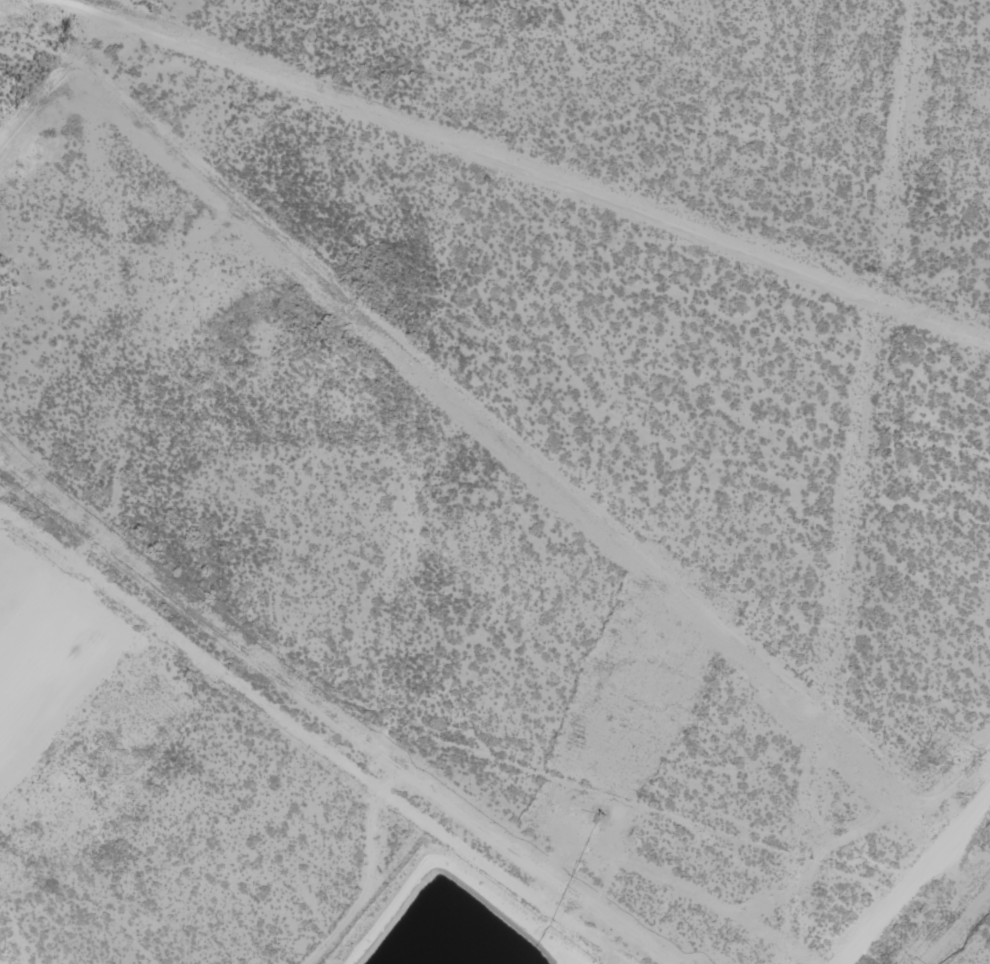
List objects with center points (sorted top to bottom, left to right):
road: (494, 726)
road: (916, 877)

